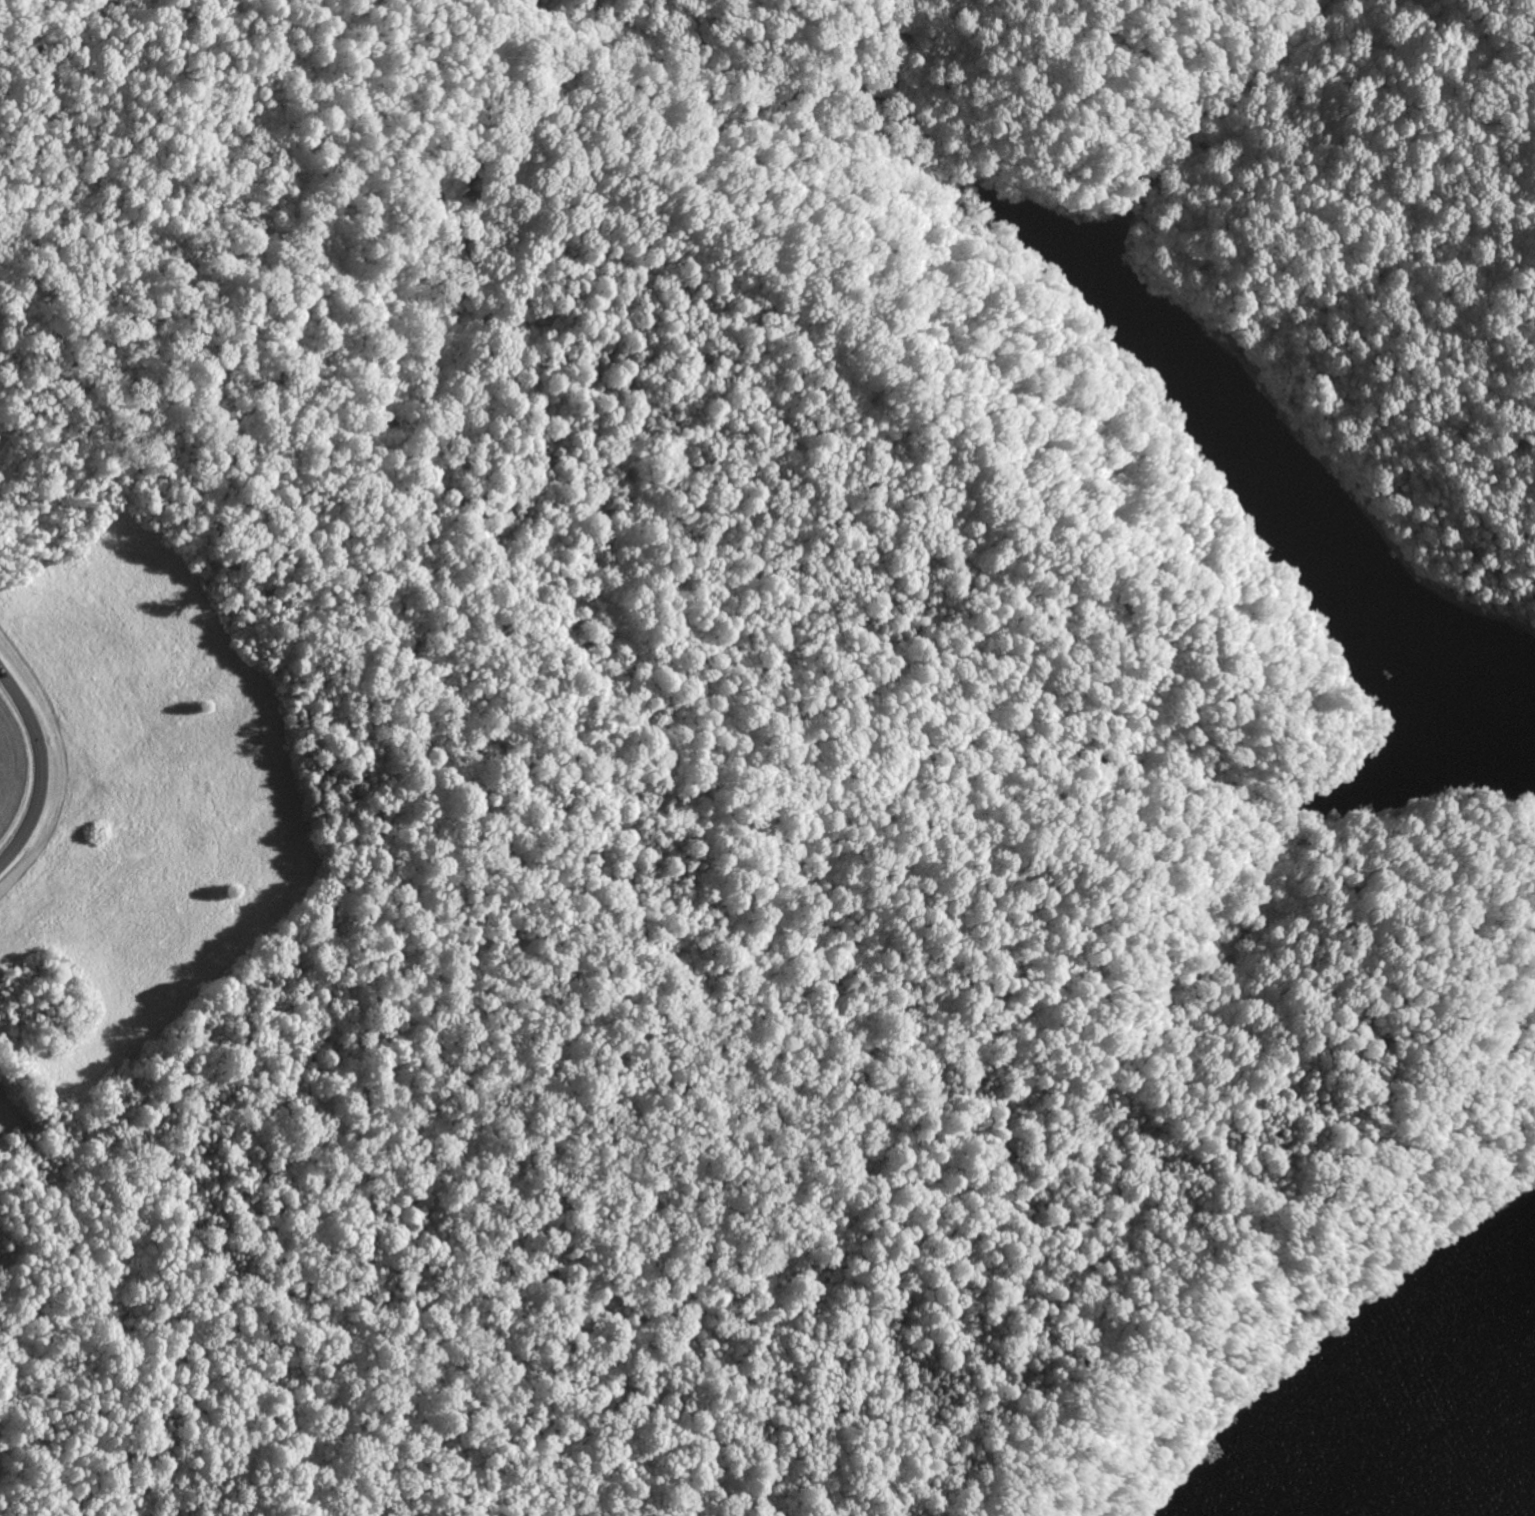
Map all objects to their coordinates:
park: (730, 748)
road: (41, 767)

